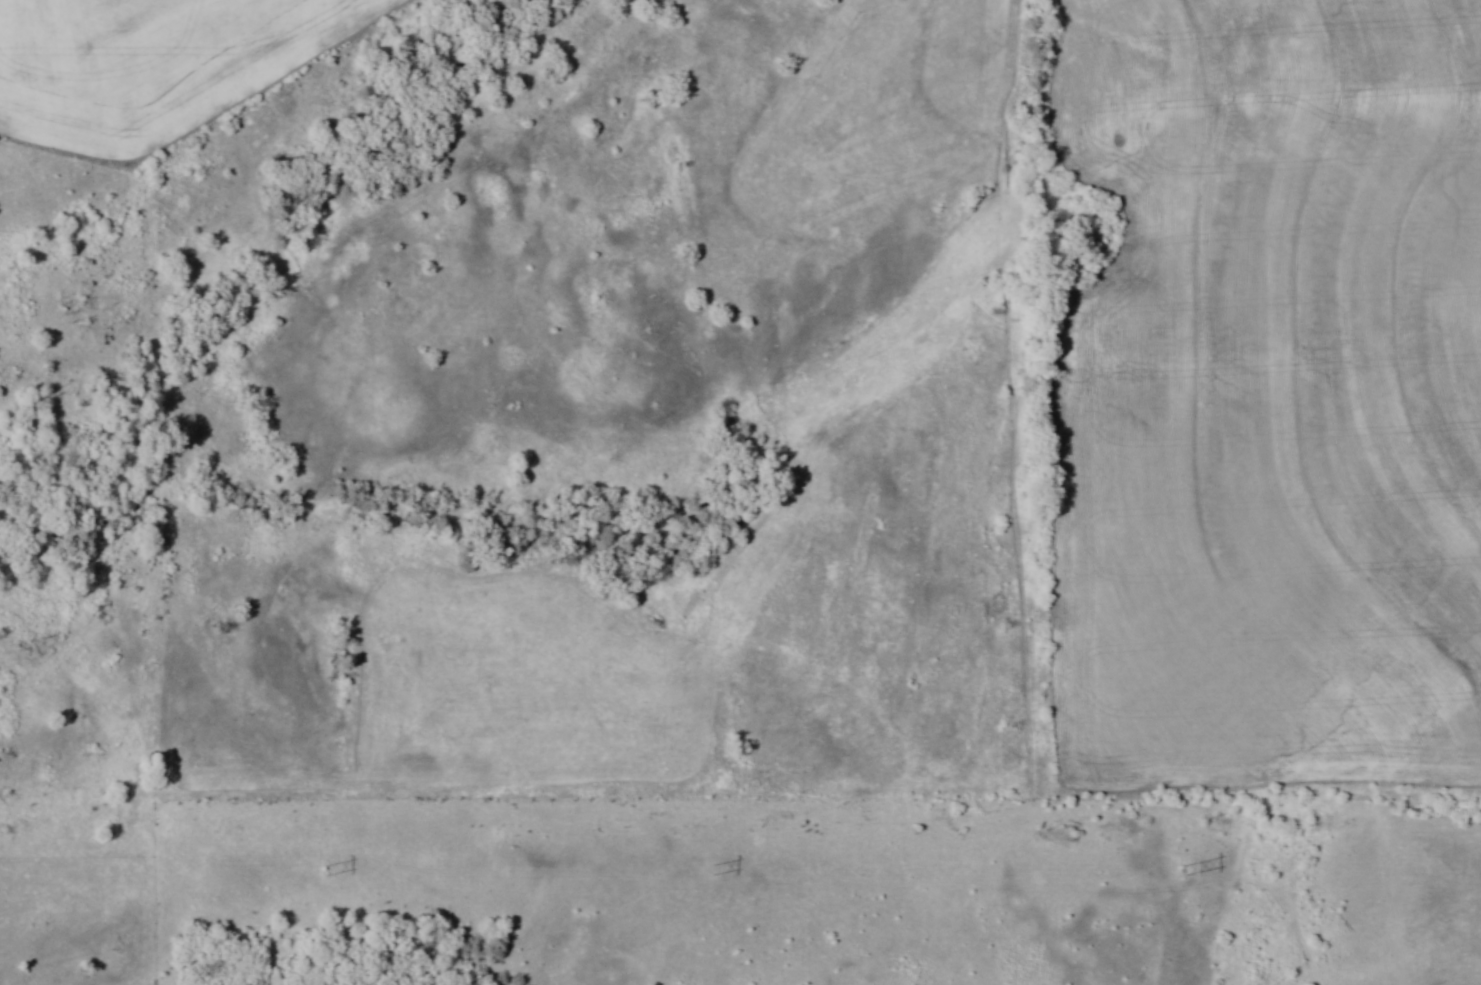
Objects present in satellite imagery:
power tower: (323, 869)
power tower: (711, 869)
power tower: (1178, 869)

